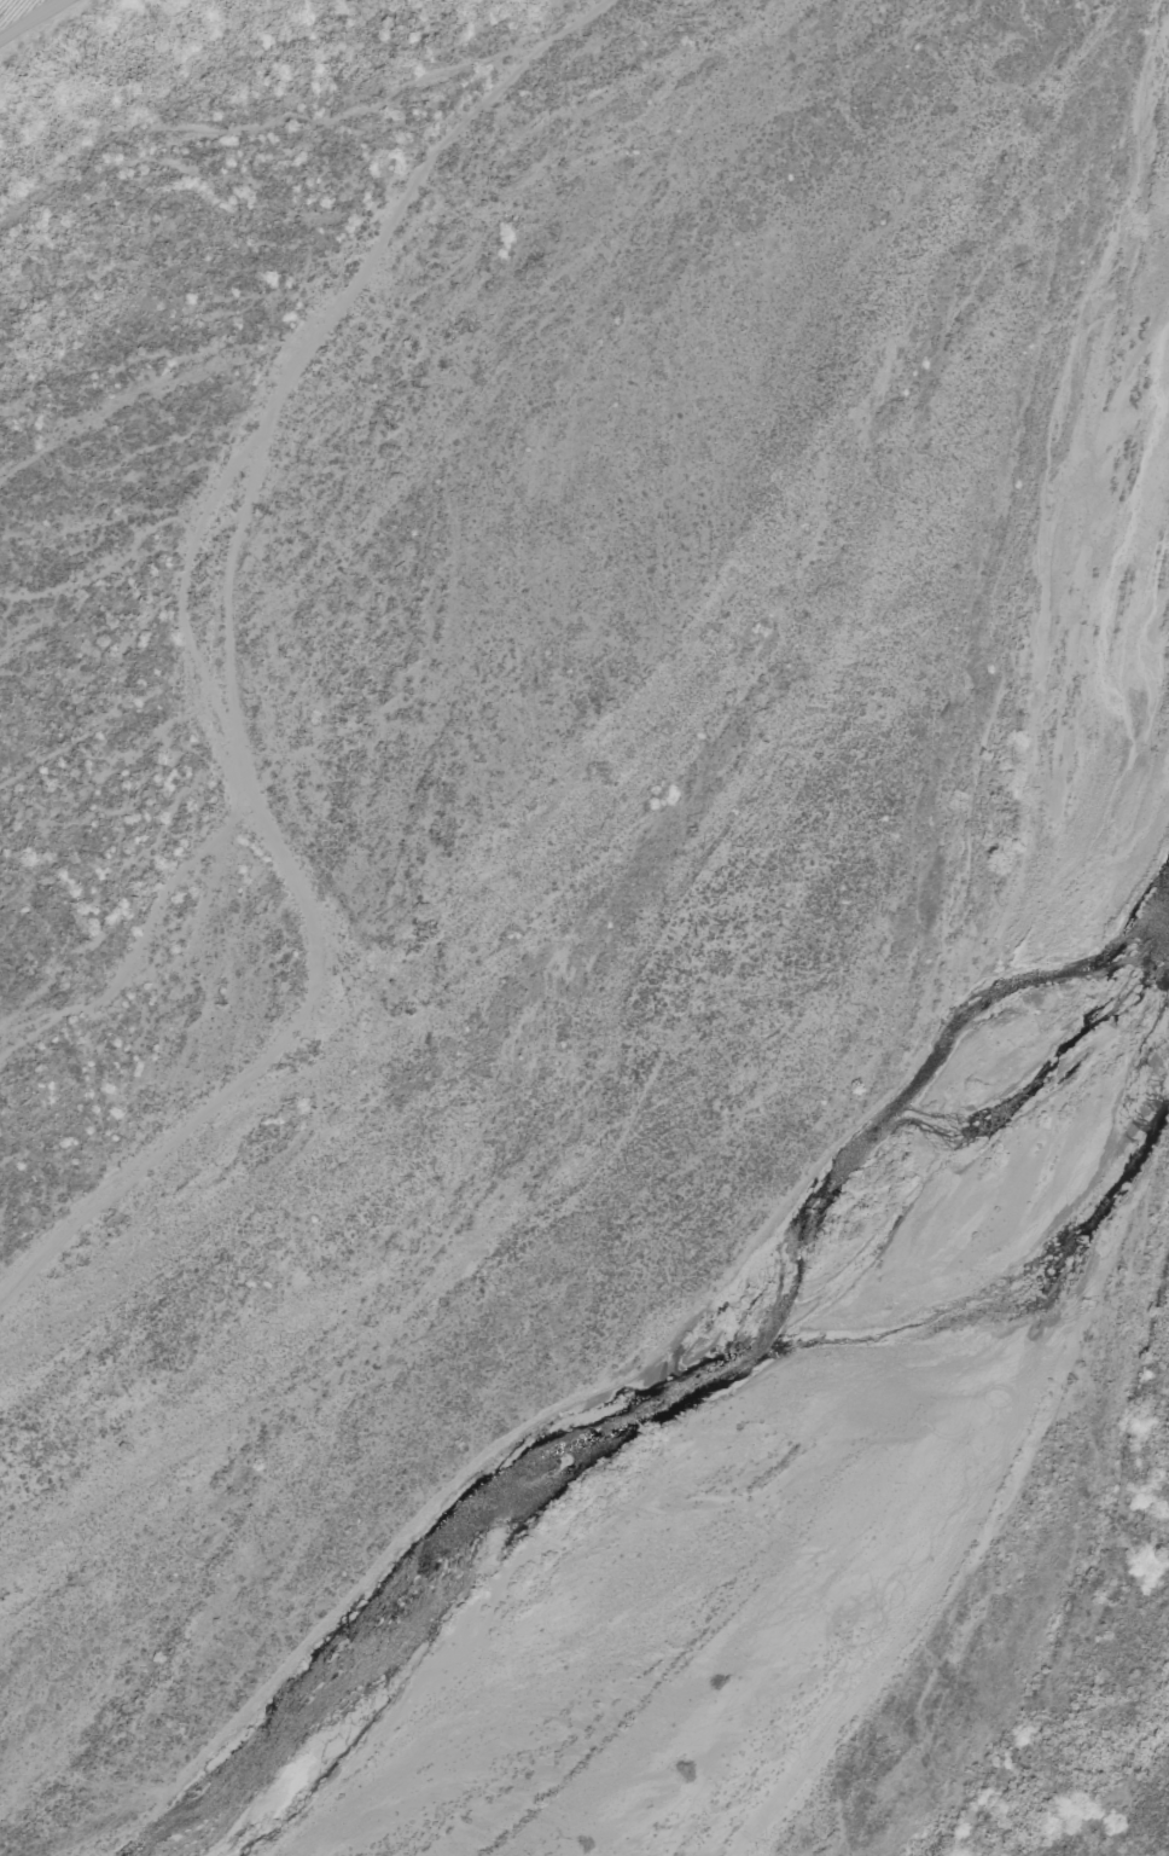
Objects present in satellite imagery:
crop: (27, 24)

